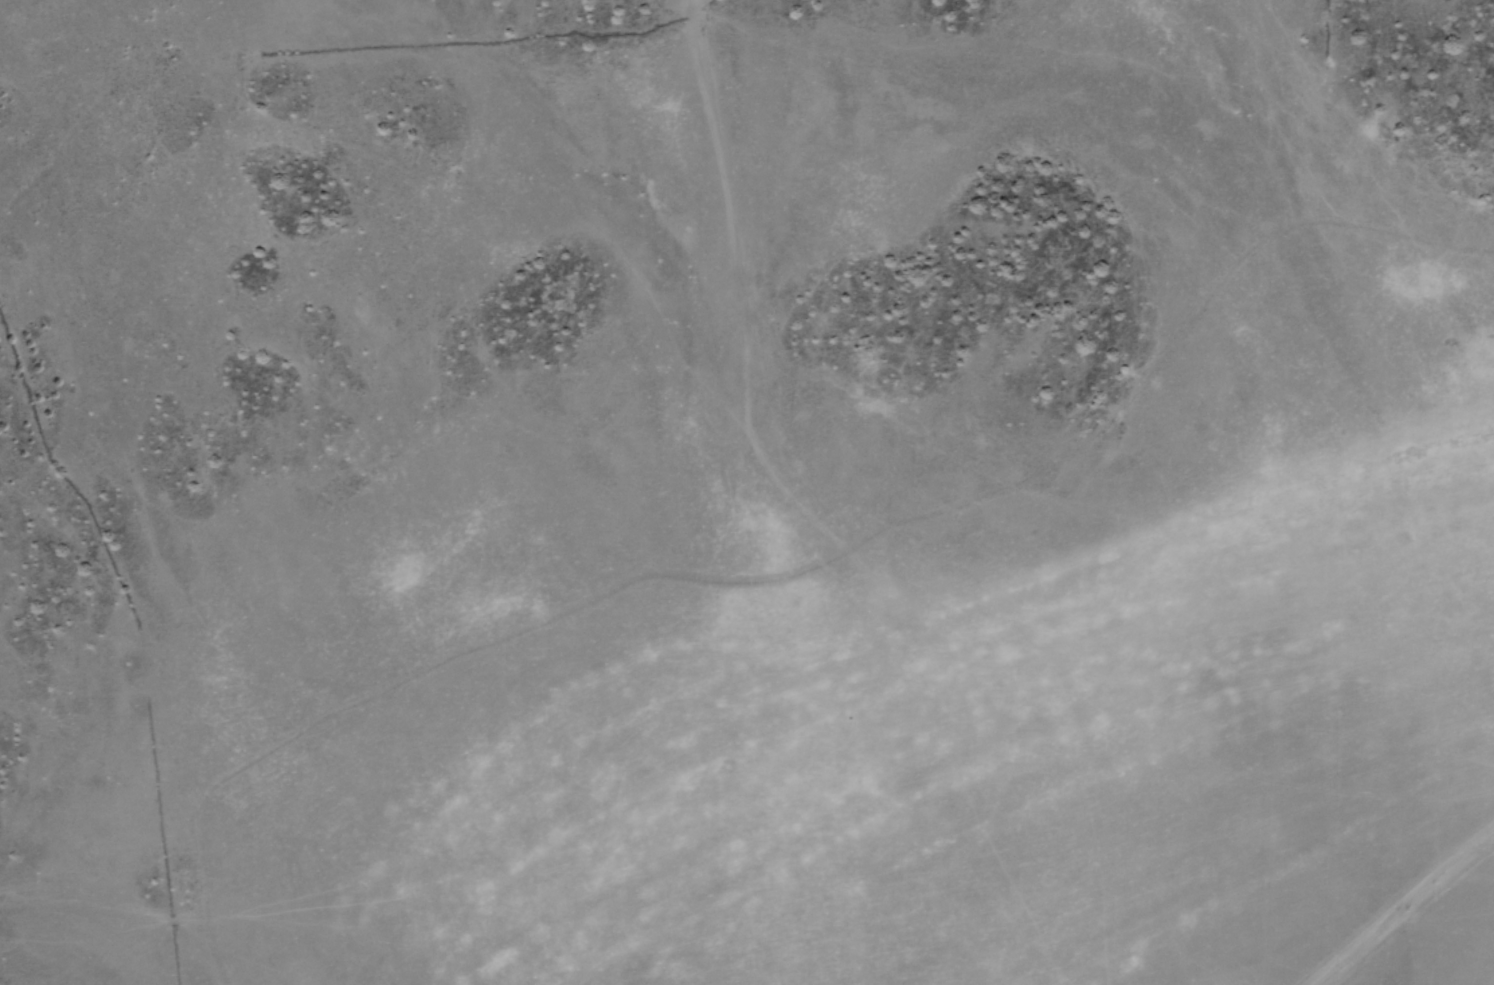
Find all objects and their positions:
road: (1398, 905)

